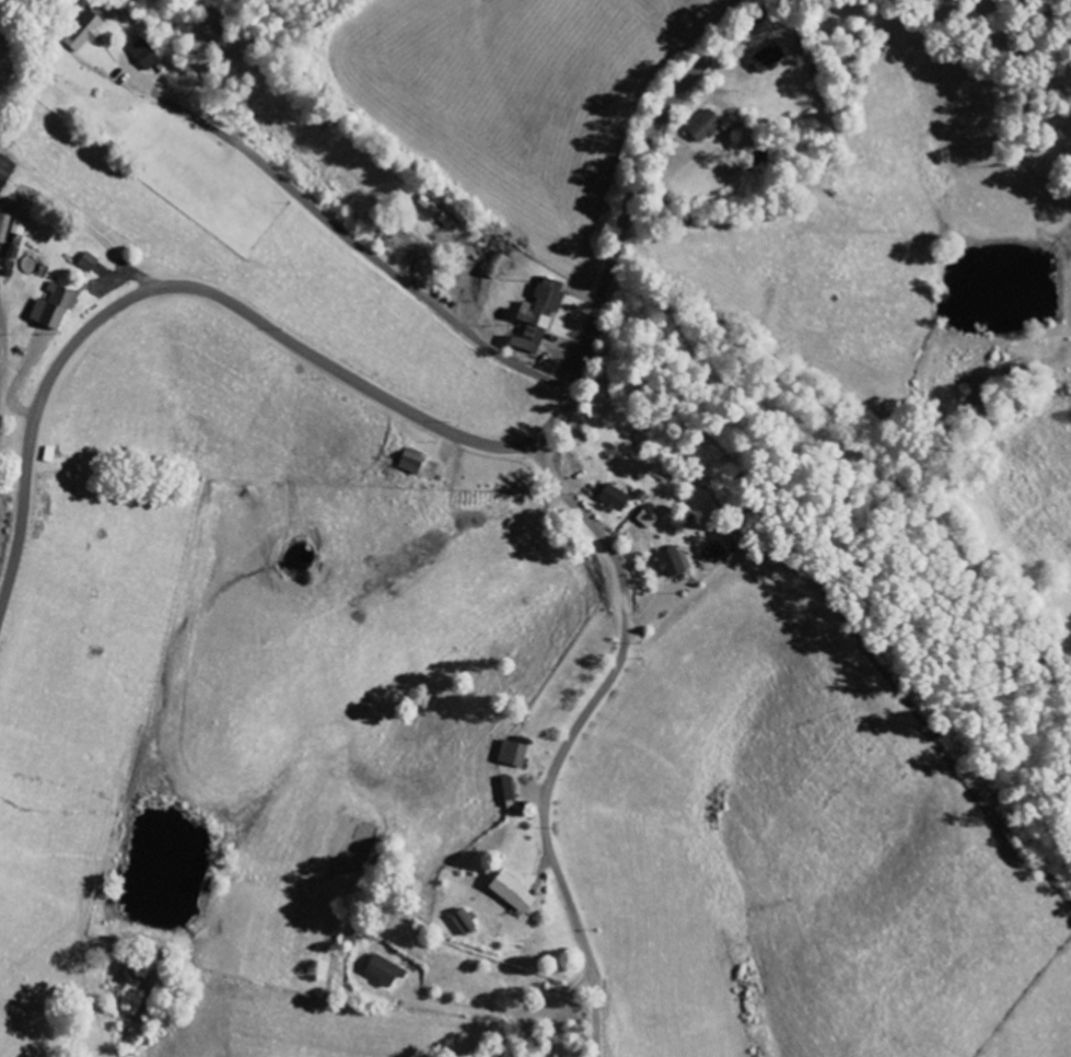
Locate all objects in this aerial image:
building: (91, 27)
building: (147, 55)
building: (770, 58)
building: (707, 127)
building: (7, 173)
building: (440, 214)
building: (4, 228)
building: (20, 228)
road: (351, 240)
building: (90, 263)
building: (56, 307)
building: (542, 316)
road: (401, 408)
building: (415, 462)
building: (431, 471)
building: (617, 500)
building: (650, 519)
building: (675, 562)
road: (572, 735)
building: (515, 755)
building: (511, 790)
building: (515, 892)
building: (465, 922)
building: (387, 971)

